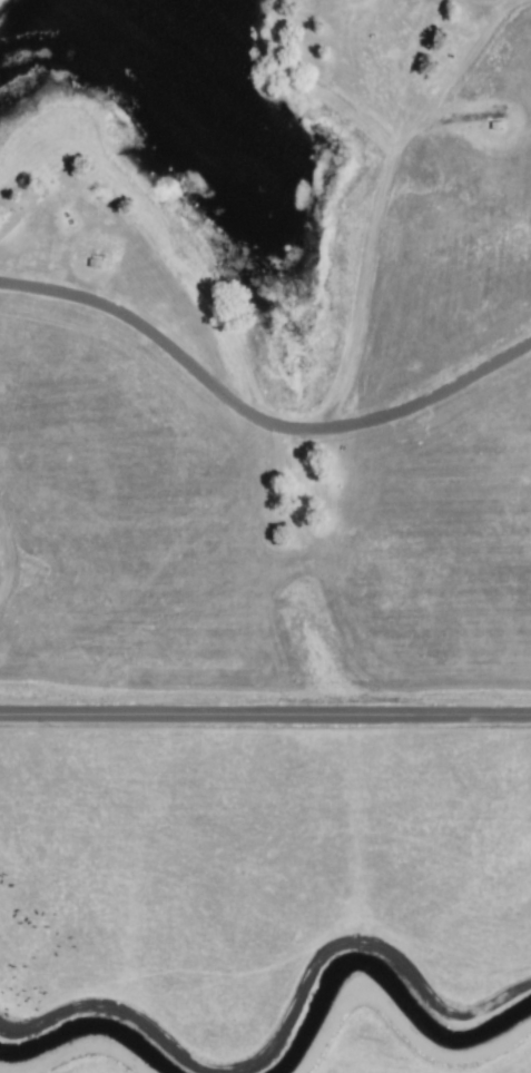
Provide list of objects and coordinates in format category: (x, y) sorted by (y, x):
road: (256, 417)
road: (265, 711)
river: (372, 964)
river: (86, 1028)
crop: (352, 1066)

